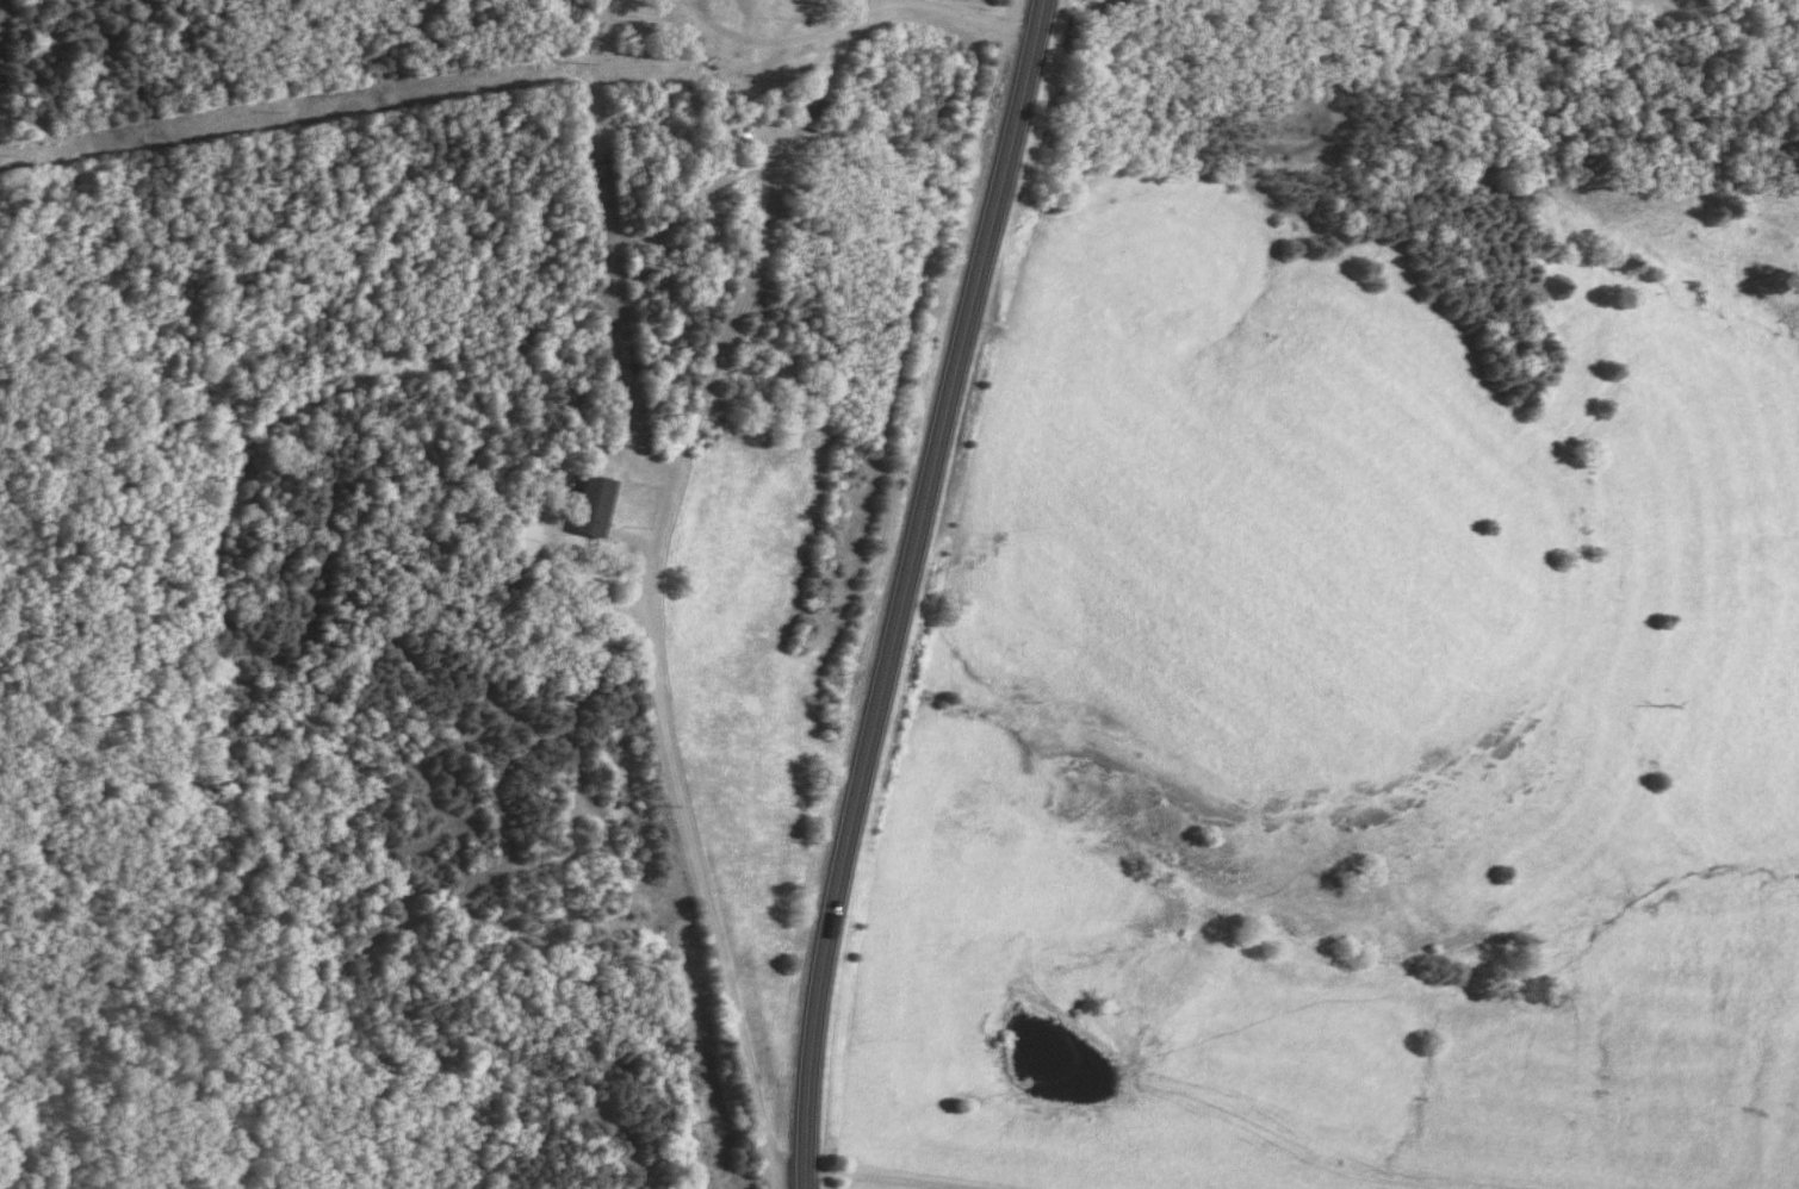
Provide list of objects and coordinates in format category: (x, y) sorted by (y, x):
building: (757, 8)
building: (814, 117)
building: (585, 509)
building: (519, 542)
road: (899, 591)

